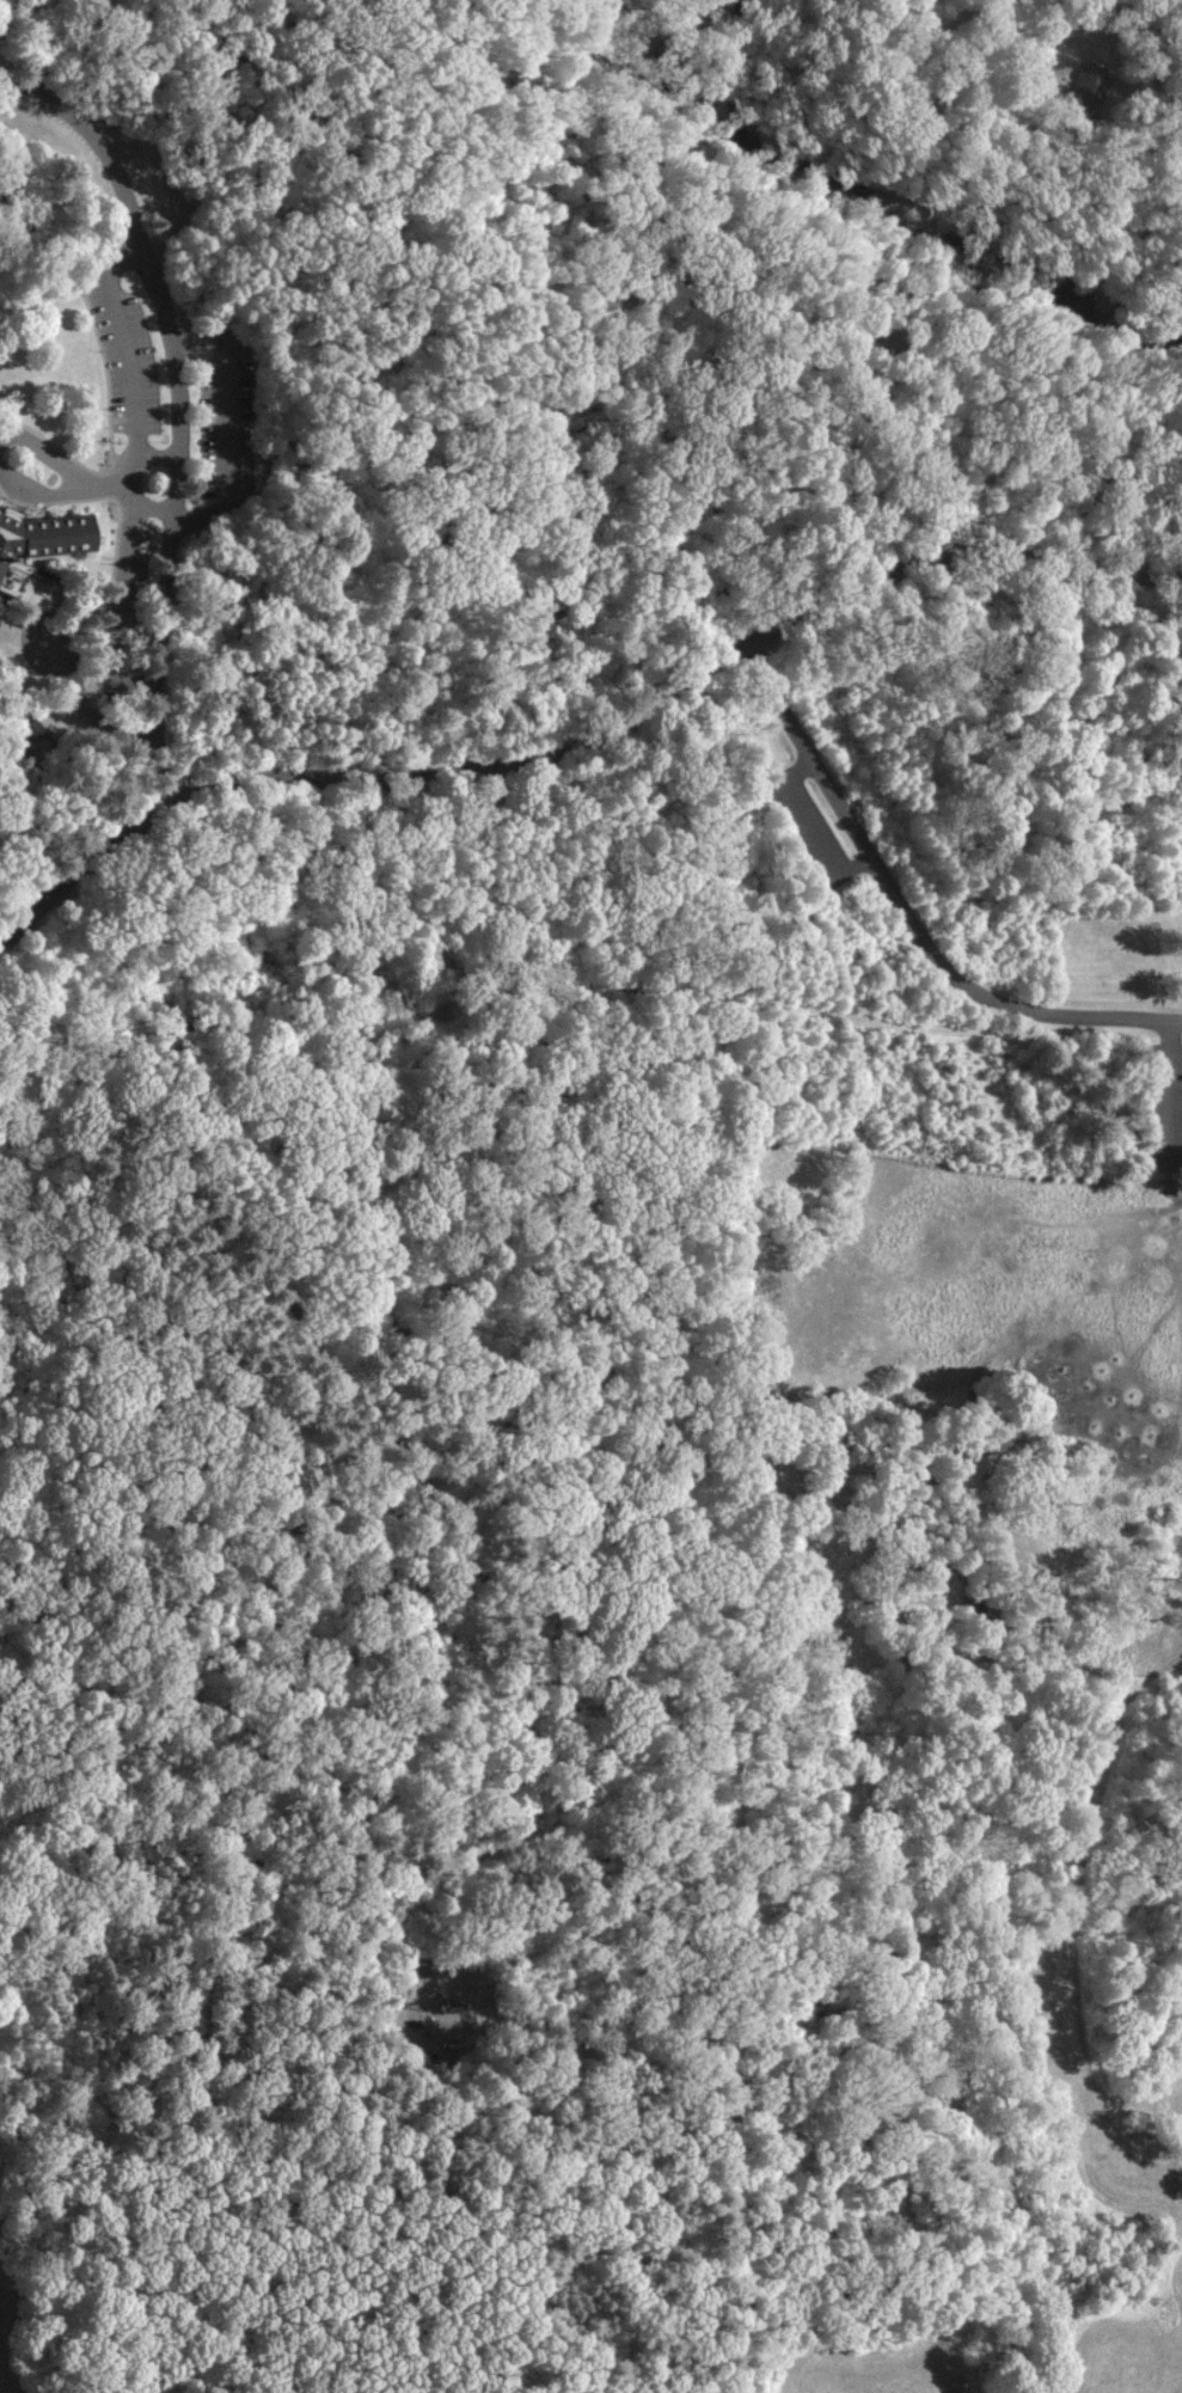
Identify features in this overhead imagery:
building: (4, 26)
parking lot: (1175, 26)
road: (45, 48)
building: (1088, 87)
road: (290, 141)
road: (174, 175)
road: (812, 293)
road: (1028, 326)
road: (1042, 341)
parking lot: (127, 354)
road: (172, 403)
parking lot: (226, 421)
road: (231, 426)
road: (953, 429)
road: (154, 459)
road: (135, 479)
road: (109, 485)
road: (141, 501)
parking lot: (963, 537)
building: (37, 555)
parking lot: (124, 610)
road: (580, 733)
road: (810, 825)
parking lot: (810, 827)
road: (904, 913)
road: (1172, 1091)
parking lot: (1163, 1104)
road: (488, 1565)
road: (417, 1933)

